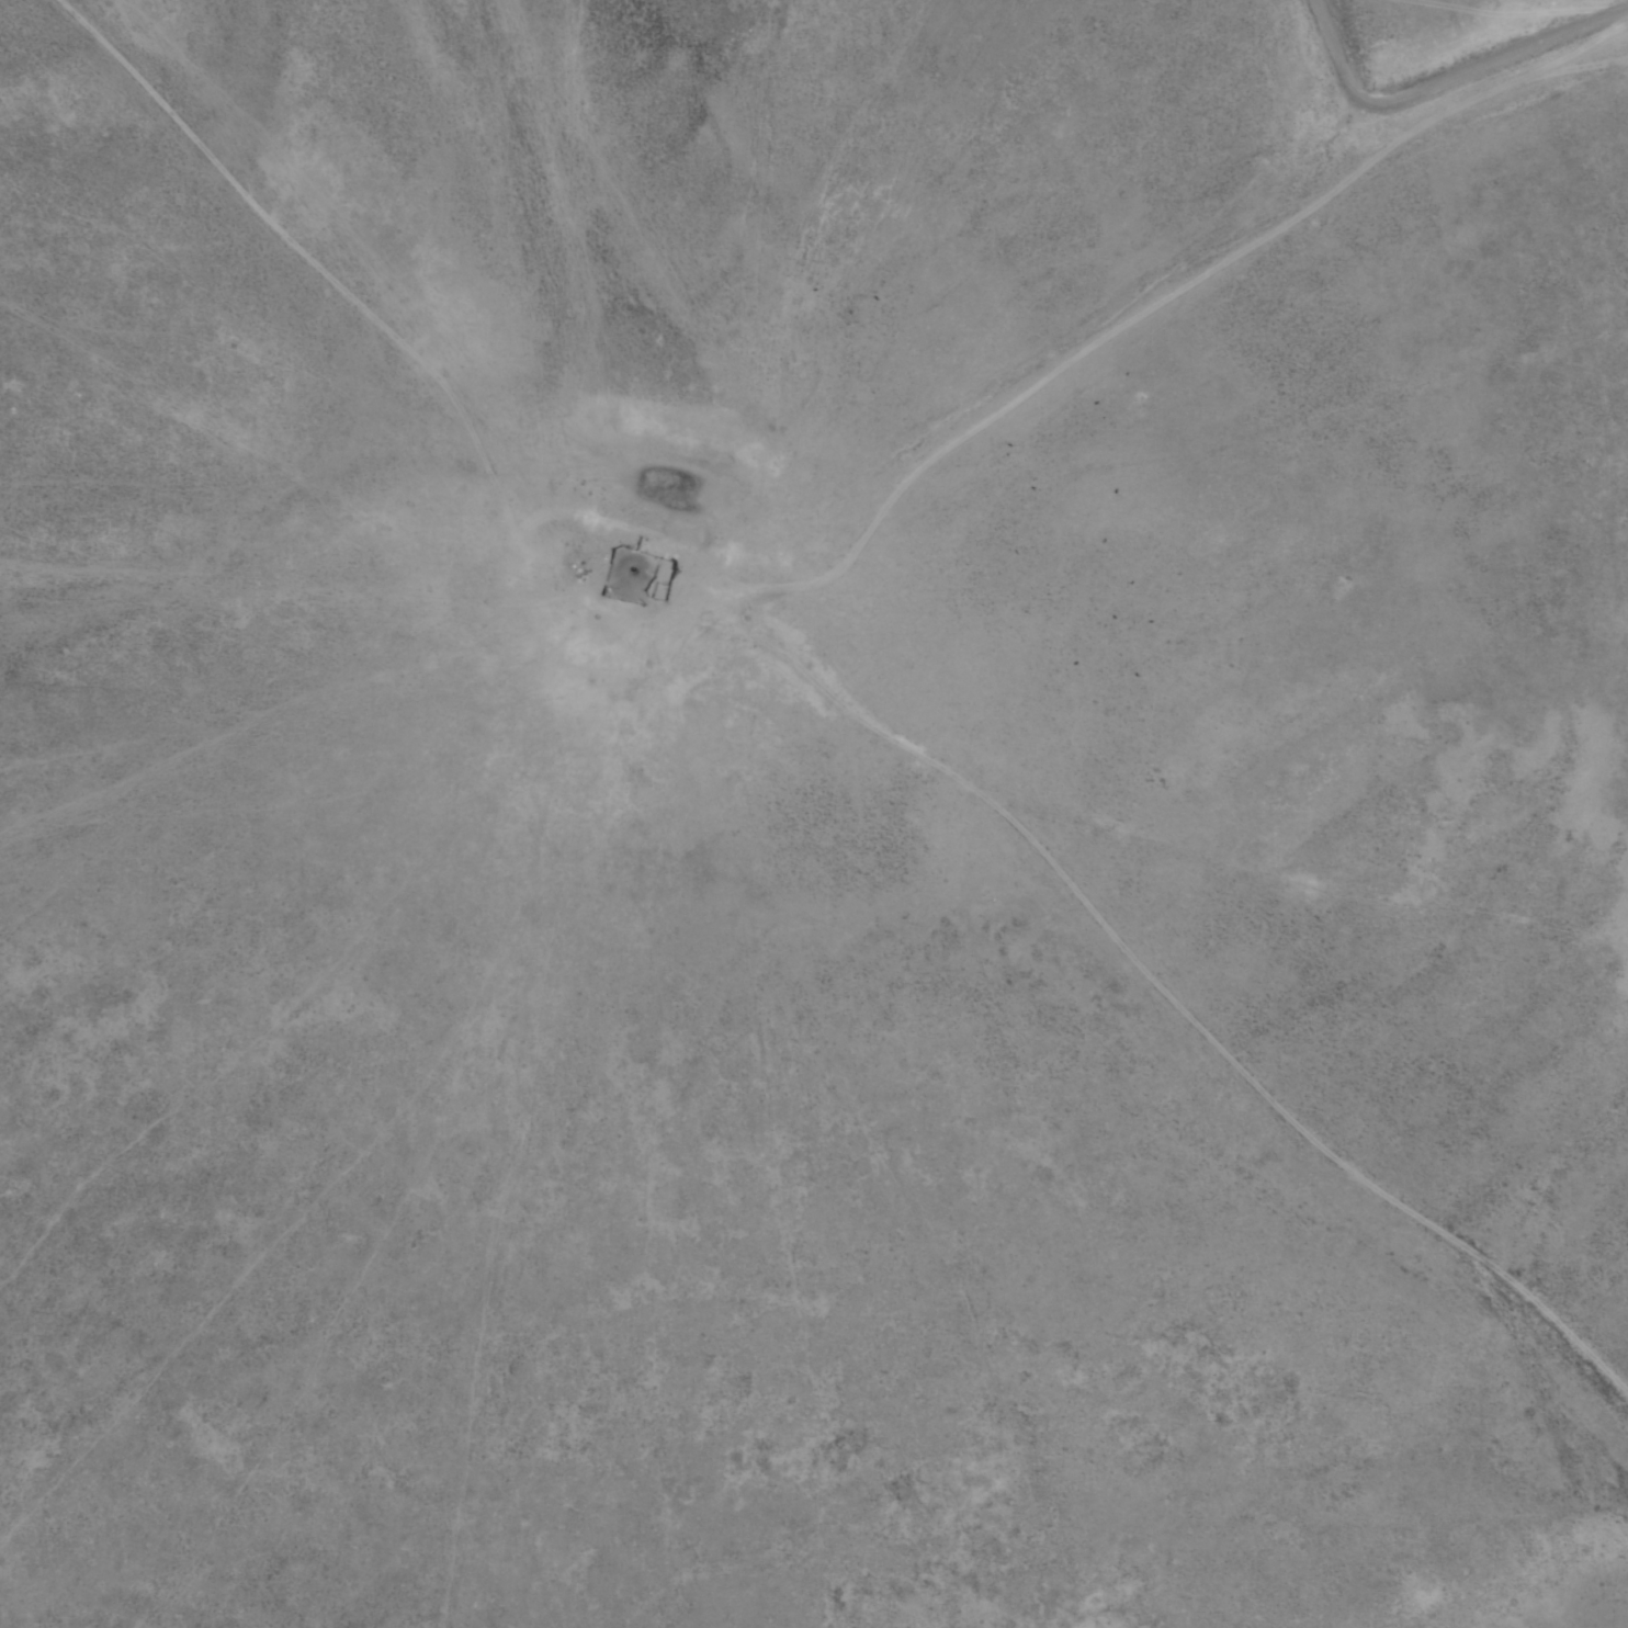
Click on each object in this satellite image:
road: (1341, 59)
road: (1496, 67)

